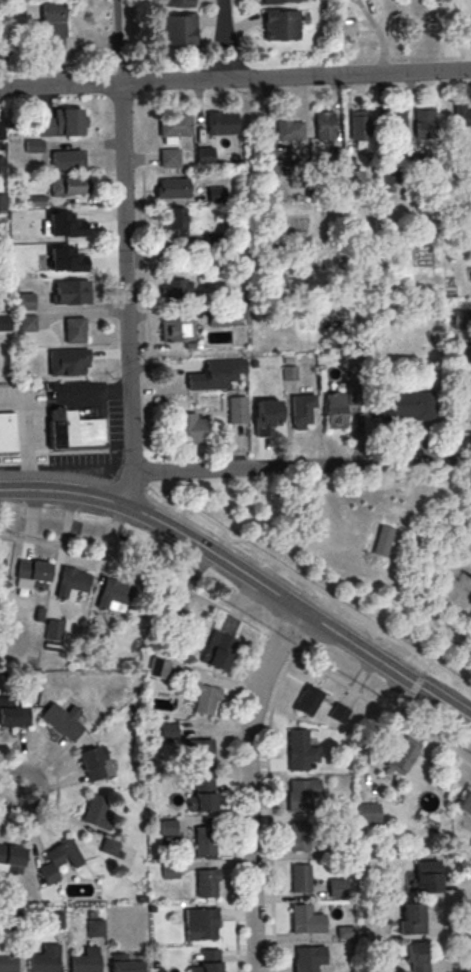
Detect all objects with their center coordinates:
building: (278, 1)
building: (173, 3)
road: (222, 17)
building: (279, 24)
building: (52, 26)
building: (467, 27)
building: (176, 29)
road: (230, 55)
road: (217, 56)
road: (235, 77)
building: (462, 114)
building: (61, 122)
building: (219, 122)
building: (423, 122)
building: (172, 124)
building: (394, 124)
building: (358, 125)
building: (324, 127)
building: (287, 128)
building: (0, 130)
building: (32, 145)
building: (204, 155)
building: (168, 157)
building: (64, 159)
building: (1, 164)
building: (291, 168)
building: (66, 185)
building: (171, 187)
building: (215, 193)
building: (1, 202)
building: (175, 219)
building: (63, 221)
road: (123, 252)
building: (174, 288)
building: (70, 291)
building: (26, 300)
road: (147, 316)
building: (223, 316)
building: (462, 317)
building: (3, 322)
building: (26, 322)
building: (74, 329)
building: (175, 329)
building: (68, 361)
building: (214, 374)
building: (272, 381)
building: (405, 406)
building: (301, 408)
building: (237, 409)
building: (335, 411)
building: (189, 427)
building: (73, 430)
building: (7, 432)
road: (27, 433)
road: (289, 467)
road: (153, 469)
road: (146, 480)
road: (460, 524)
park: (364, 544)
road: (460, 551)
building: (1, 563)
road: (414, 569)
building: (31, 574)
road: (246, 577)
building: (71, 582)
road: (308, 585)
road: (438, 585)
building: (112, 593)
road: (438, 608)
building: (176, 616)
road: (247, 623)
building: (53, 629)
road: (440, 646)
building: (218, 650)
building: (157, 667)
building: (205, 699)
building: (307, 699)
building: (338, 712)
building: (12, 714)
building: (62, 721)
building: (167, 730)
building: (300, 751)
building: (199, 752)
building: (400, 757)
building: (95, 763)
road: (247, 785)
road: (9, 791)
road: (57, 791)
building: (302, 794)
building: (205, 798)
road: (231, 799)
building: (465, 803)
road: (268, 809)
building: (96, 812)
building: (368, 812)
building: (168, 828)
building: (299, 838)
building: (205, 841)
building: (109, 846)
building: (343, 846)
building: (11, 858)
building: (59, 860)
building: (169, 871)
building: (426, 876)
building: (300, 879)
building: (206, 884)
building: (336, 887)
building: (411, 918)
building: (53, 920)
building: (305, 920)
building: (12, 921)
building: (206, 925)
building: (95, 929)
building: (344, 932)
road: (465, 946)
building: (412, 952)
building: (8, 959)
building: (304, 960)
building: (44, 961)
building: (86, 961)
building: (210, 962)
building: (124, 963)

